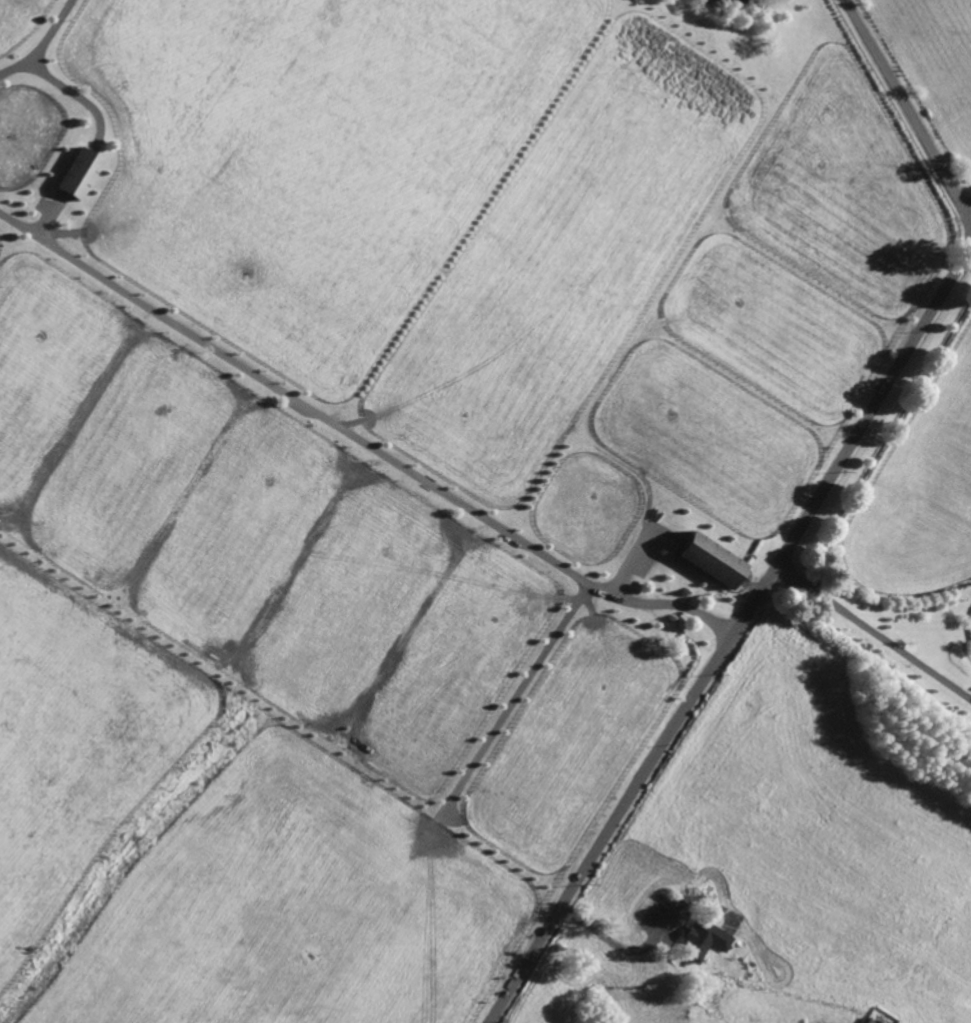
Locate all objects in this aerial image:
road: (40, 44)
road: (69, 92)
road: (908, 107)
building: (75, 170)
building: (39, 199)
road: (46, 219)
road: (360, 441)
building: (707, 559)
road: (874, 631)
road: (733, 635)
building: (702, 938)
road: (616, 947)
building: (864, 1020)

